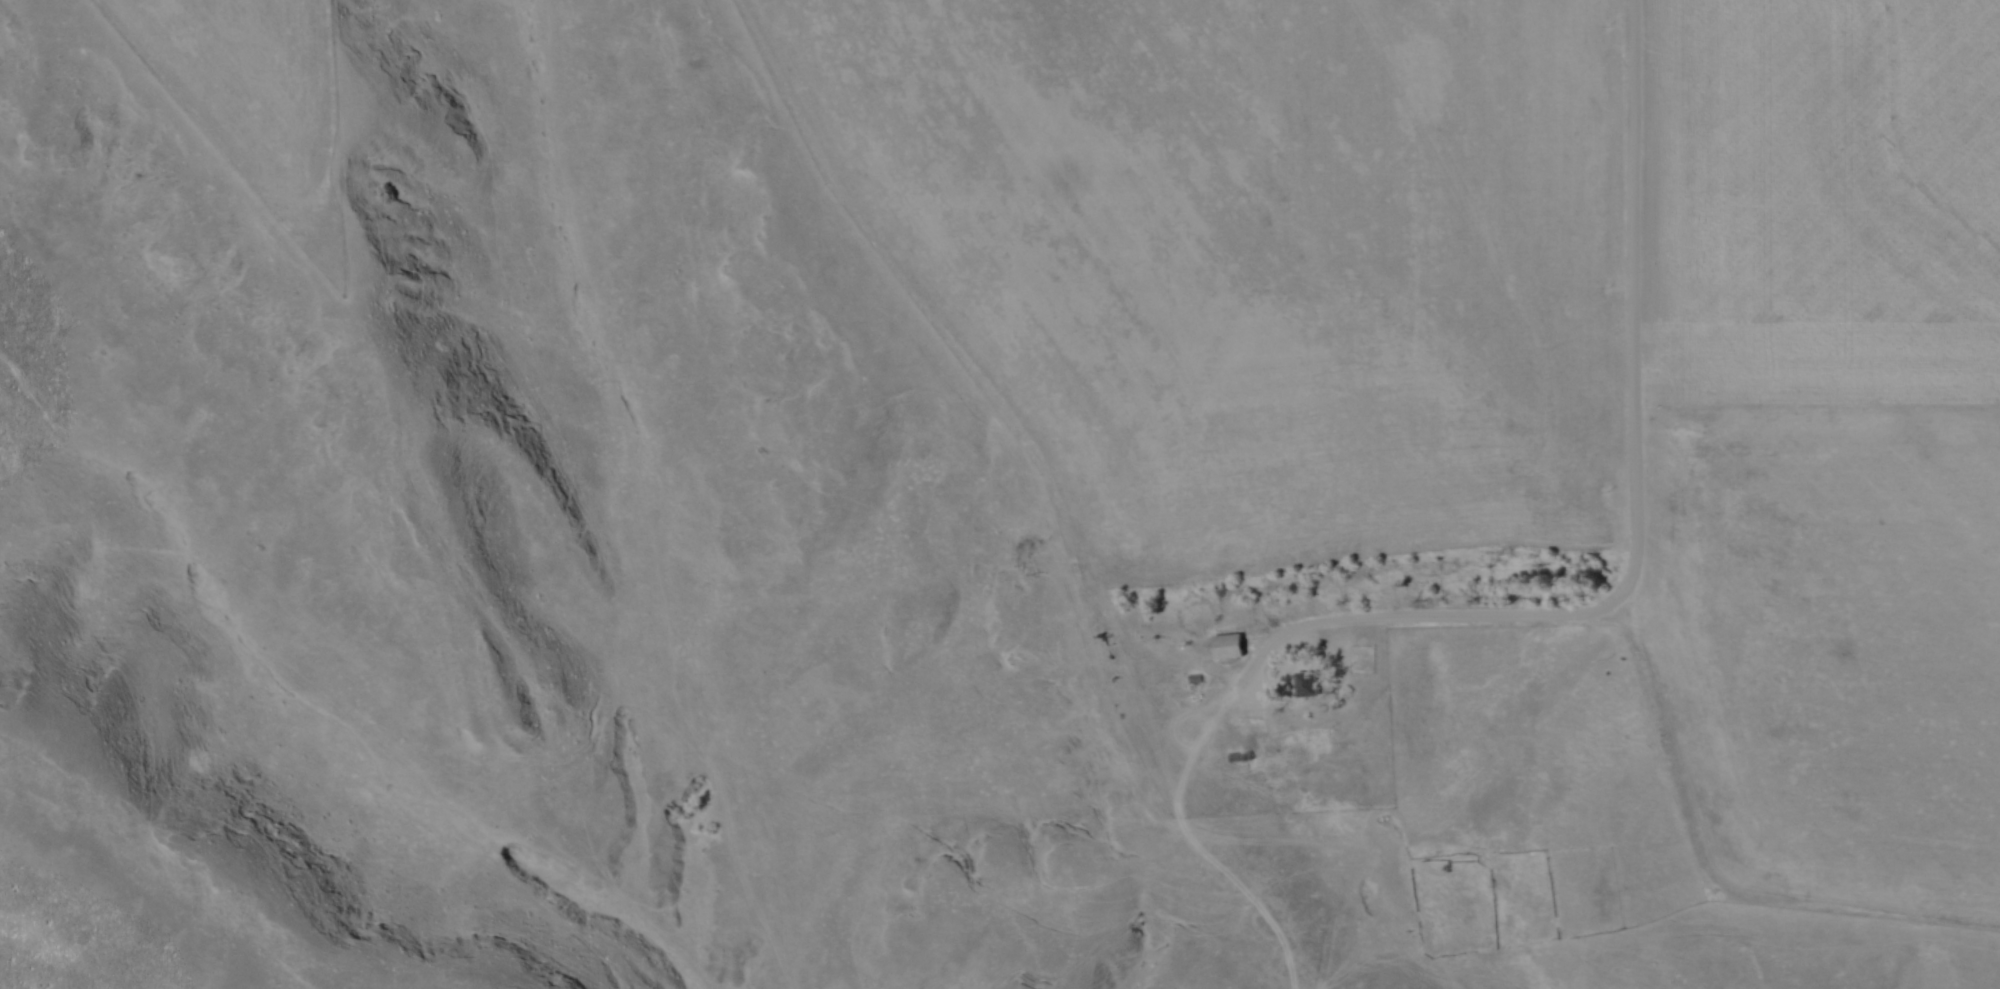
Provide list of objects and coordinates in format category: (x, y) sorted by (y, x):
road: (1635, 267)
road: (1447, 614)
building: (1228, 646)
building: (1307, 683)
building: (1239, 757)

